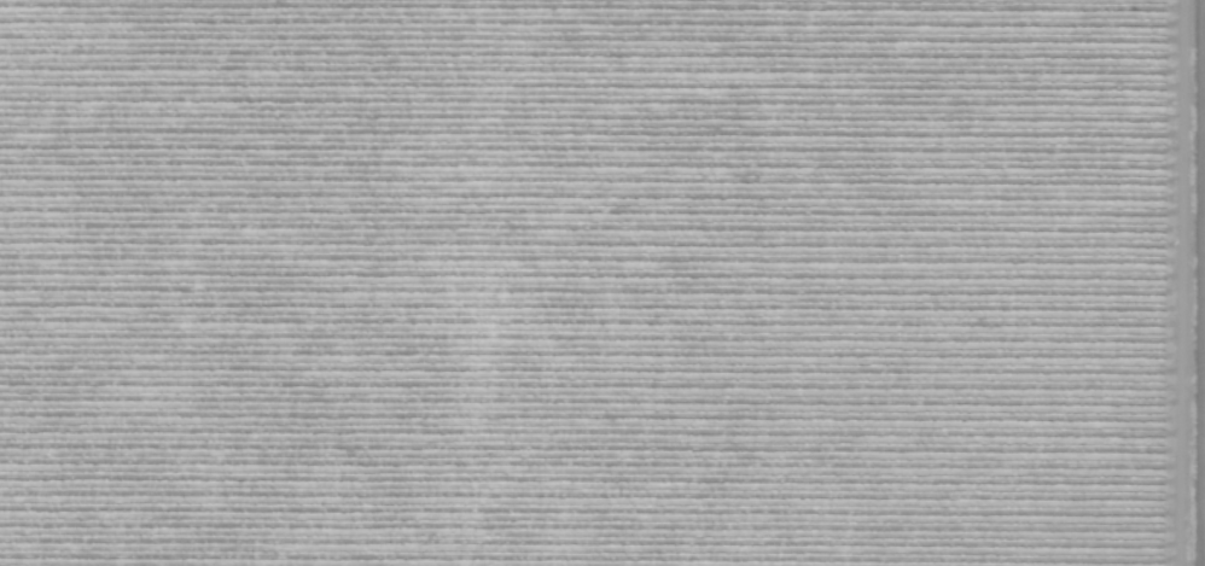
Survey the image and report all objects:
road: (1195, 282)

